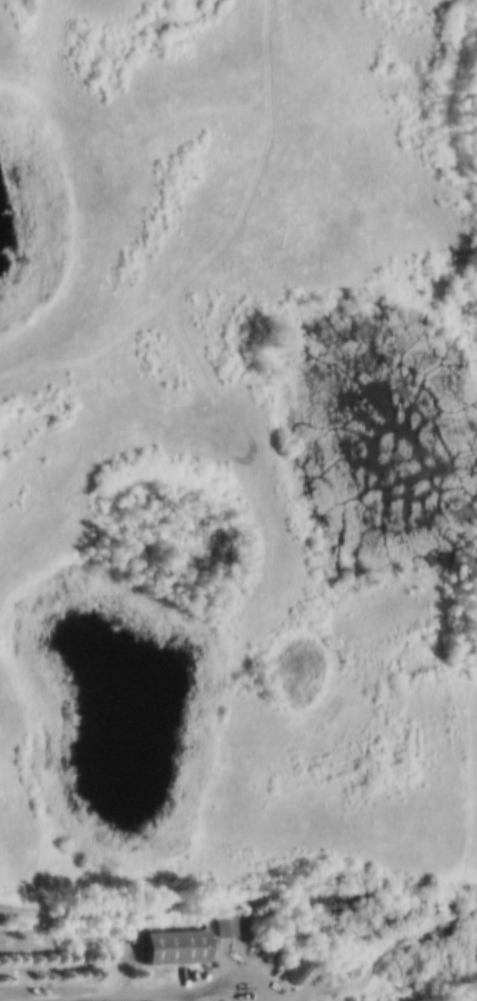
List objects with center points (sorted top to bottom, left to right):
building: (223, 930)
building: (173, 944)
road: (161, 994)

